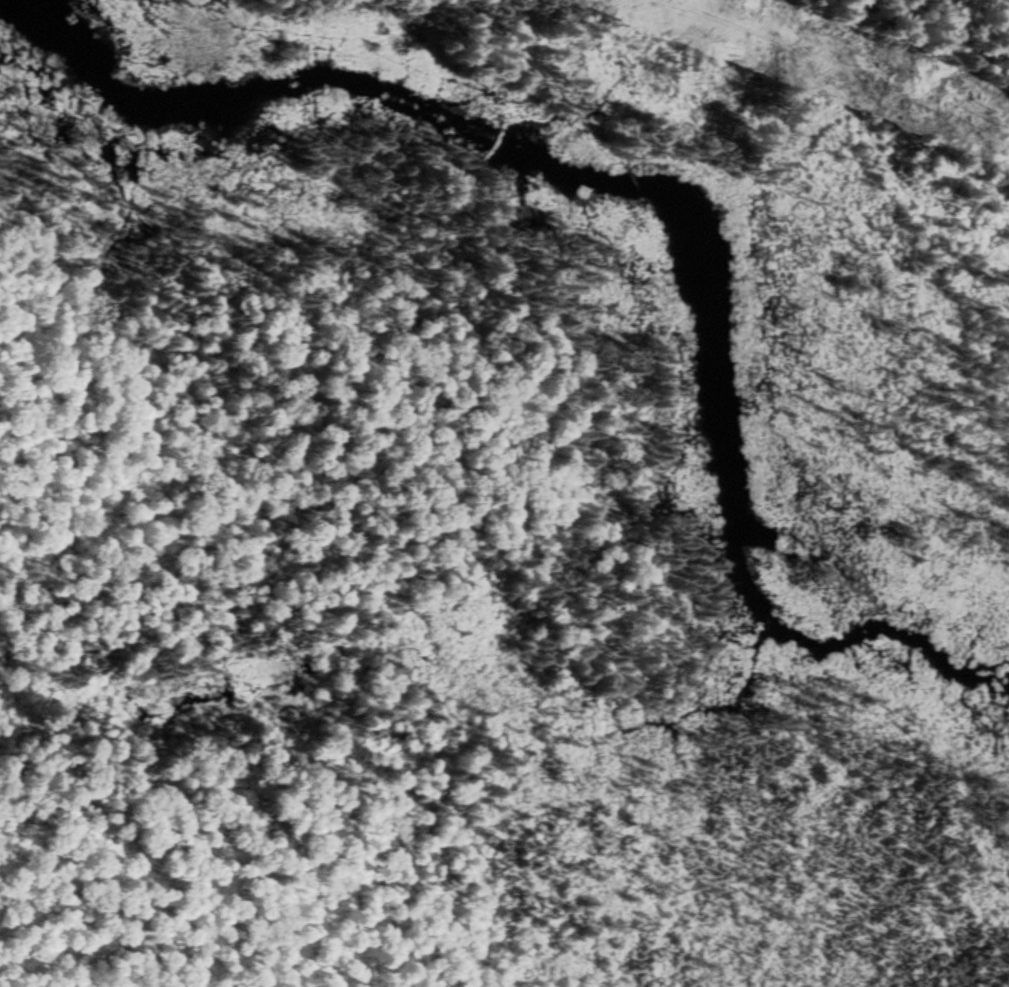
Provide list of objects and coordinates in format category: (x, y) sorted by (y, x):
power tower: (887, 89)
river: (527, 158)

